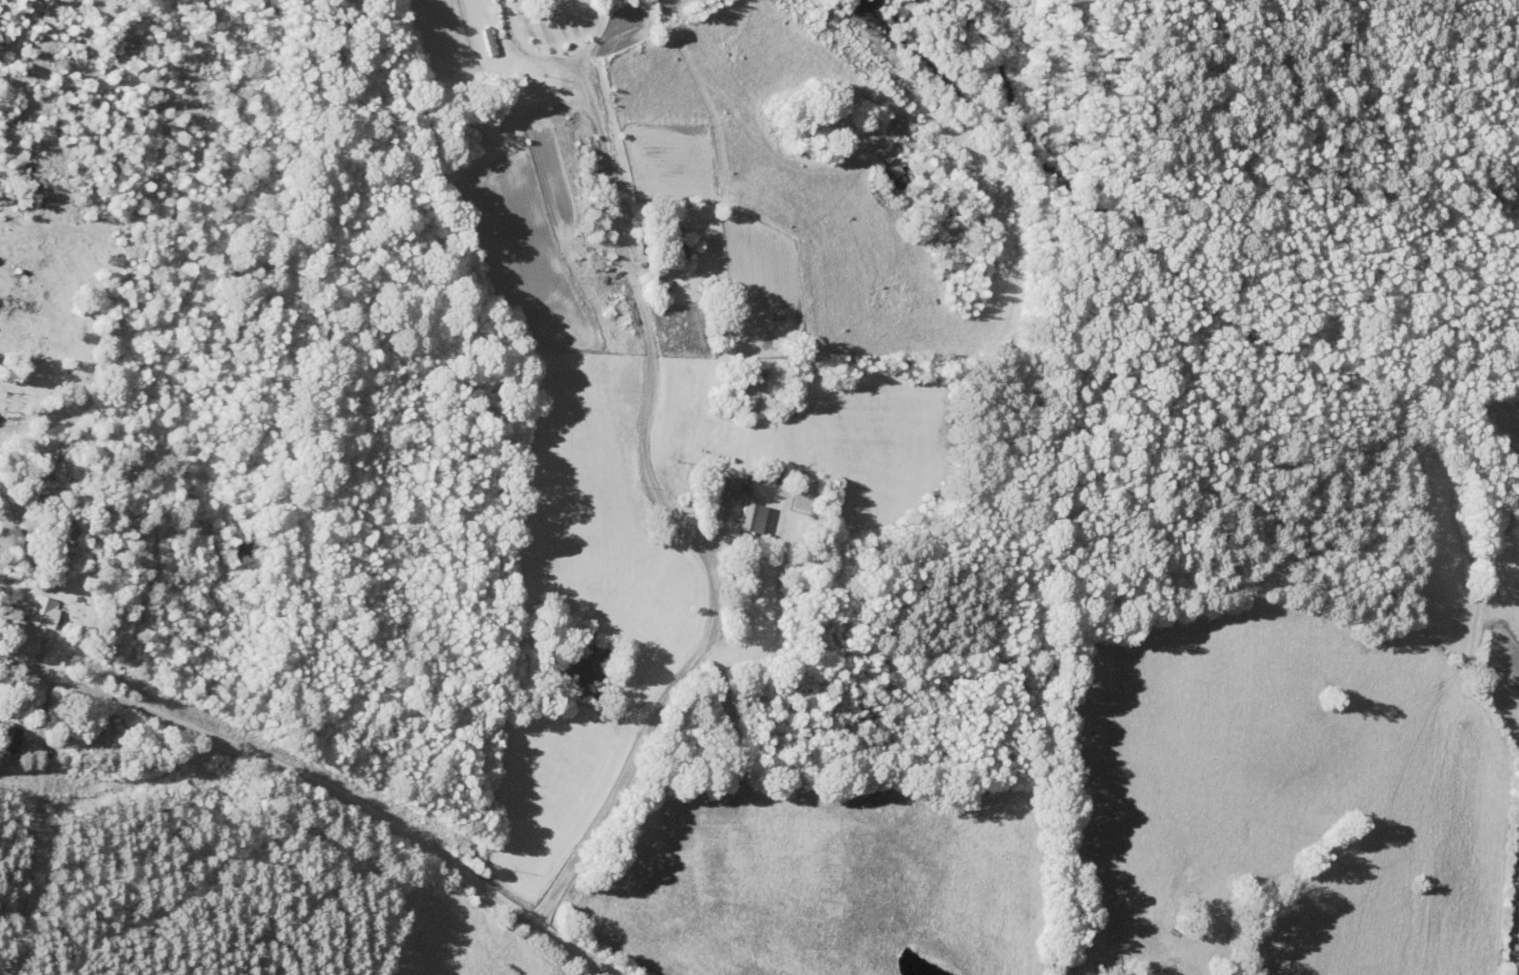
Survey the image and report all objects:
building: (520, 113)
building: (675, 246)
building: (749, 517)
road: (771, 559)
building: (7, 733)
road: (318, 784)

